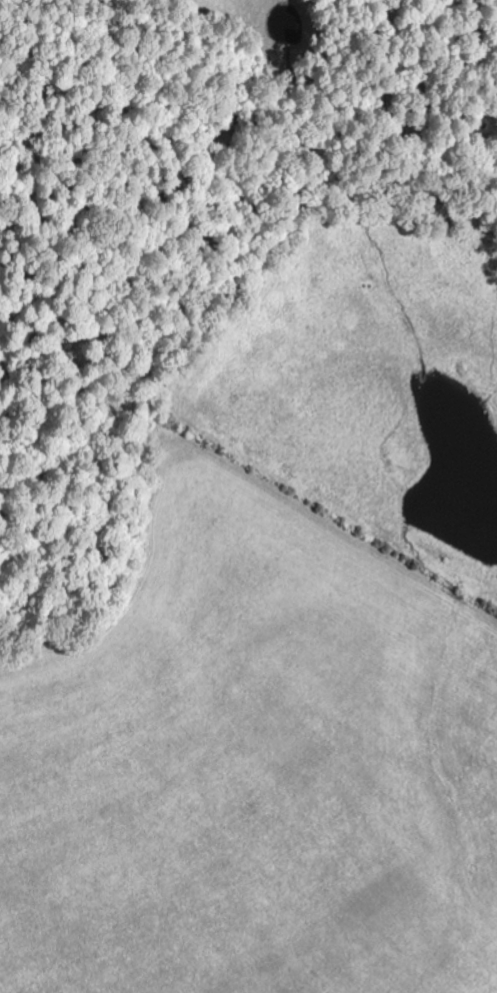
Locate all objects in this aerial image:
road: (476, 50)

